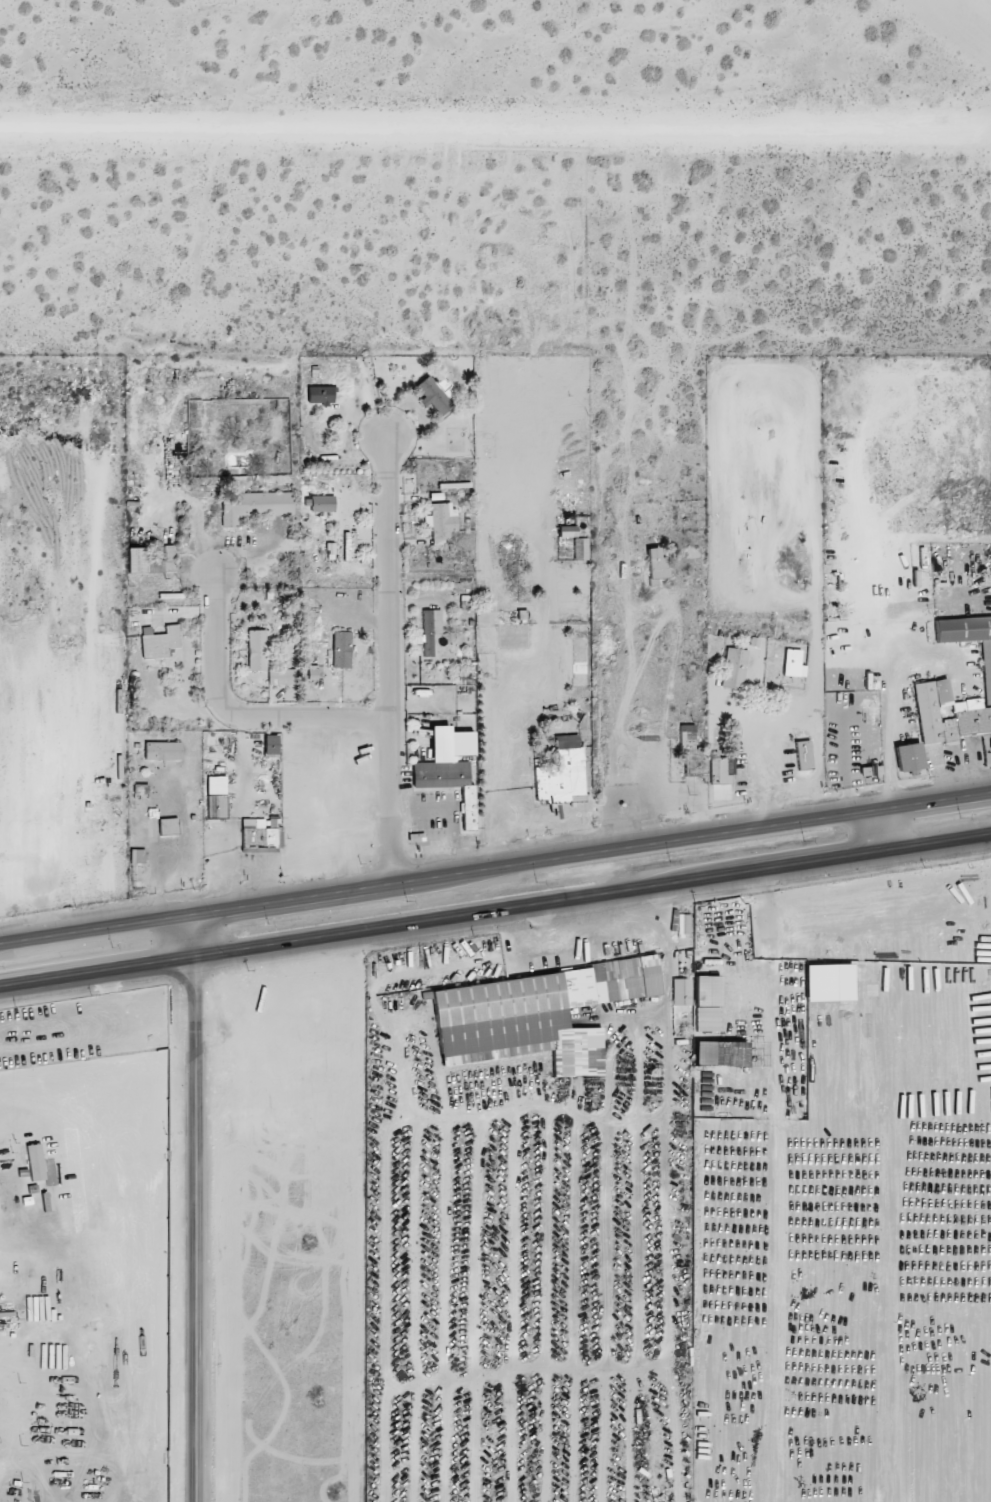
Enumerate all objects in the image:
road: (478, 125)
building: (318, 396)
building: (432, 398)
building: (320, 504)
building: (253, 506)
building: (439, 522)
building: (135, 561)
building: (161, 563)
building: (655, 567)
building: (429, 631)
building: (158, 643)
building: (340, 650)
building: (255, 651)
road: (390, 662)
building: (792, 664)
building: (732, 670)
building: (986, 674)
building: (280, 677)
building: (946, 714)
road: (240, 716)
building: (269, 745)
building: (161, 751)
building: (802, 756)
building: (907, 758)
building: (703, 765)
building: (447, 769)
building: (560, 773)
road: (761, 774)
building: (215, 806)
building: (167, 827)
road: (879, 834)
building: (258, 838)
building: (212, 839)
road: (495, 869)
road: (495, 914)
building: (830, 983)
building: (680, 992)
building: (705, 1004)
building: (532, 1016)
building: (719, 1054)
building: (8, 1118)
road: (197, 1209)

